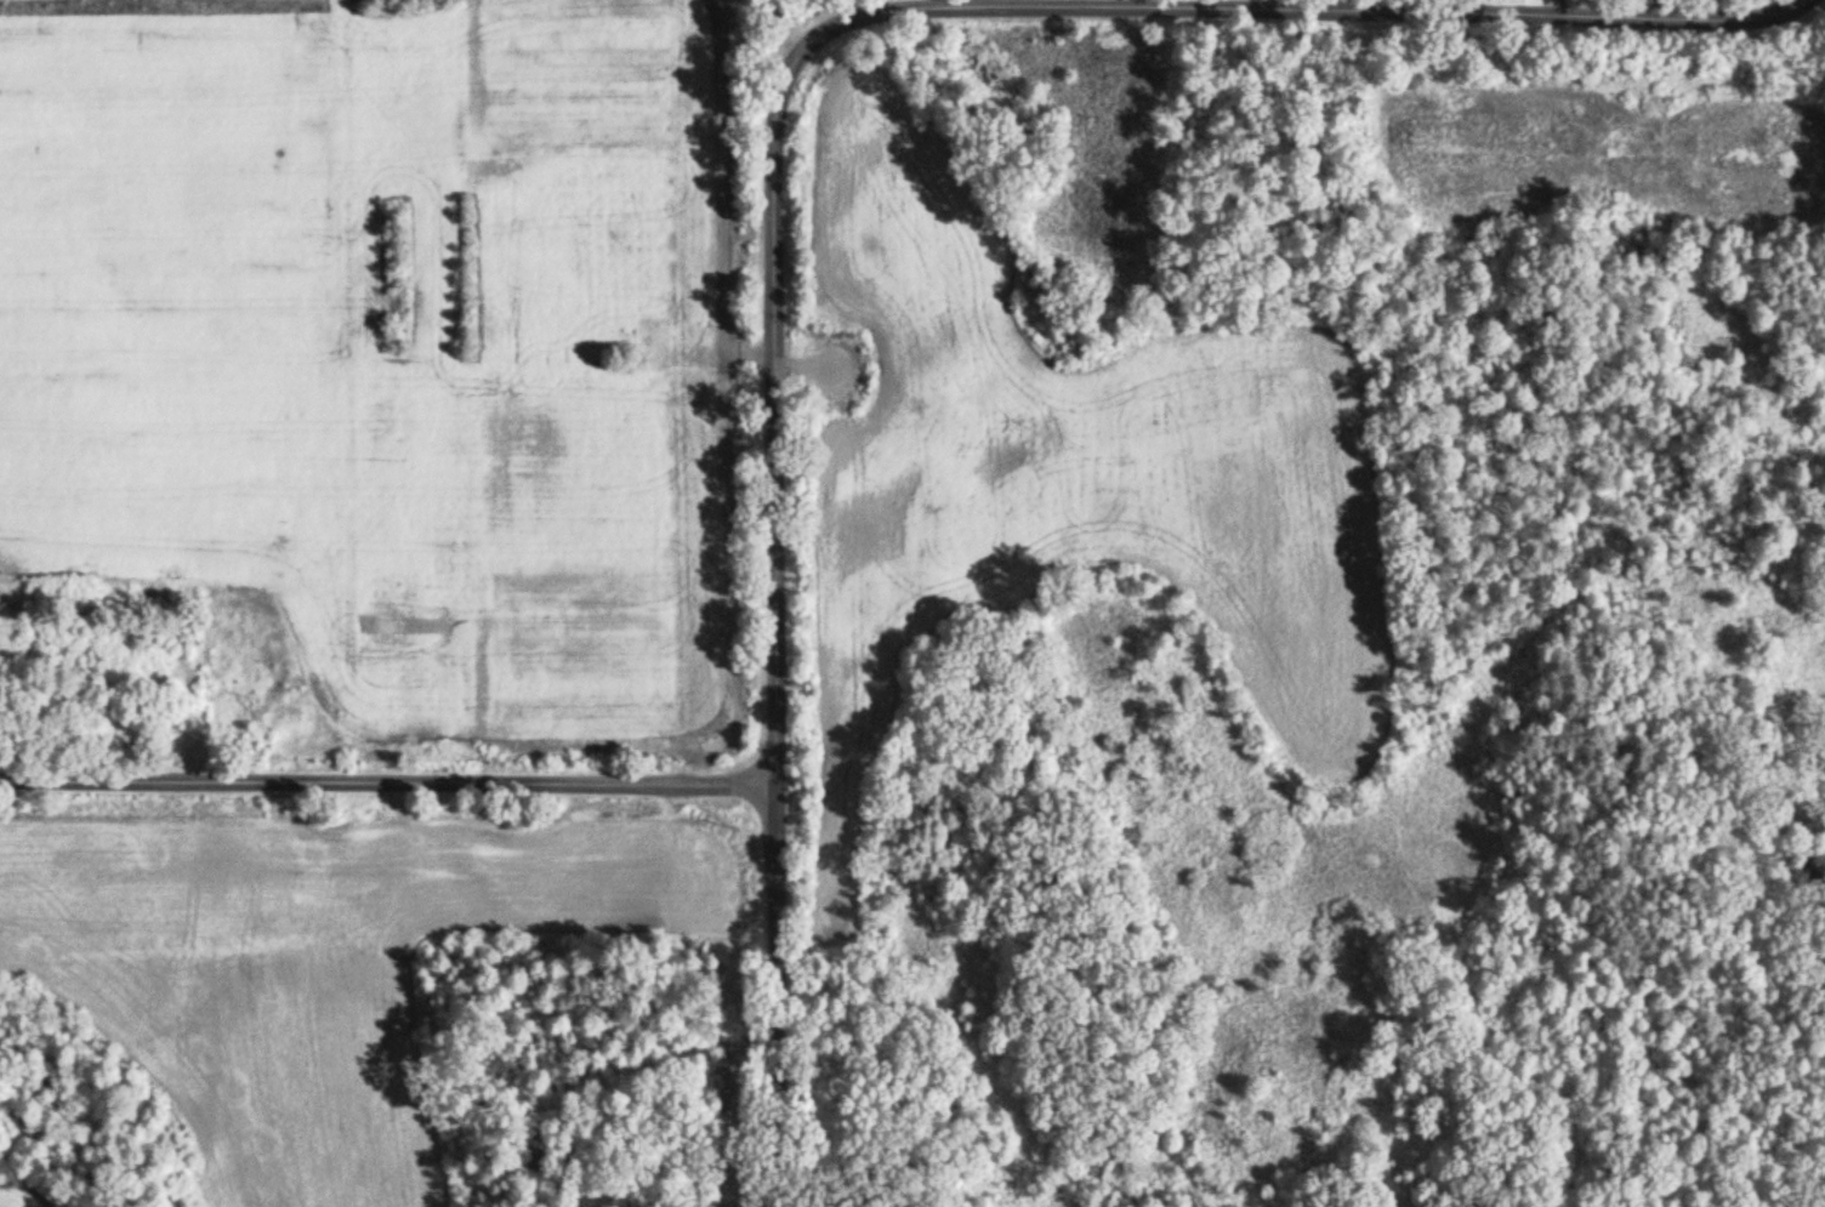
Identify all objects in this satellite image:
road: (1346, 18)
road: (783, 383)
road: (386, 785)
road: (772, 997)

